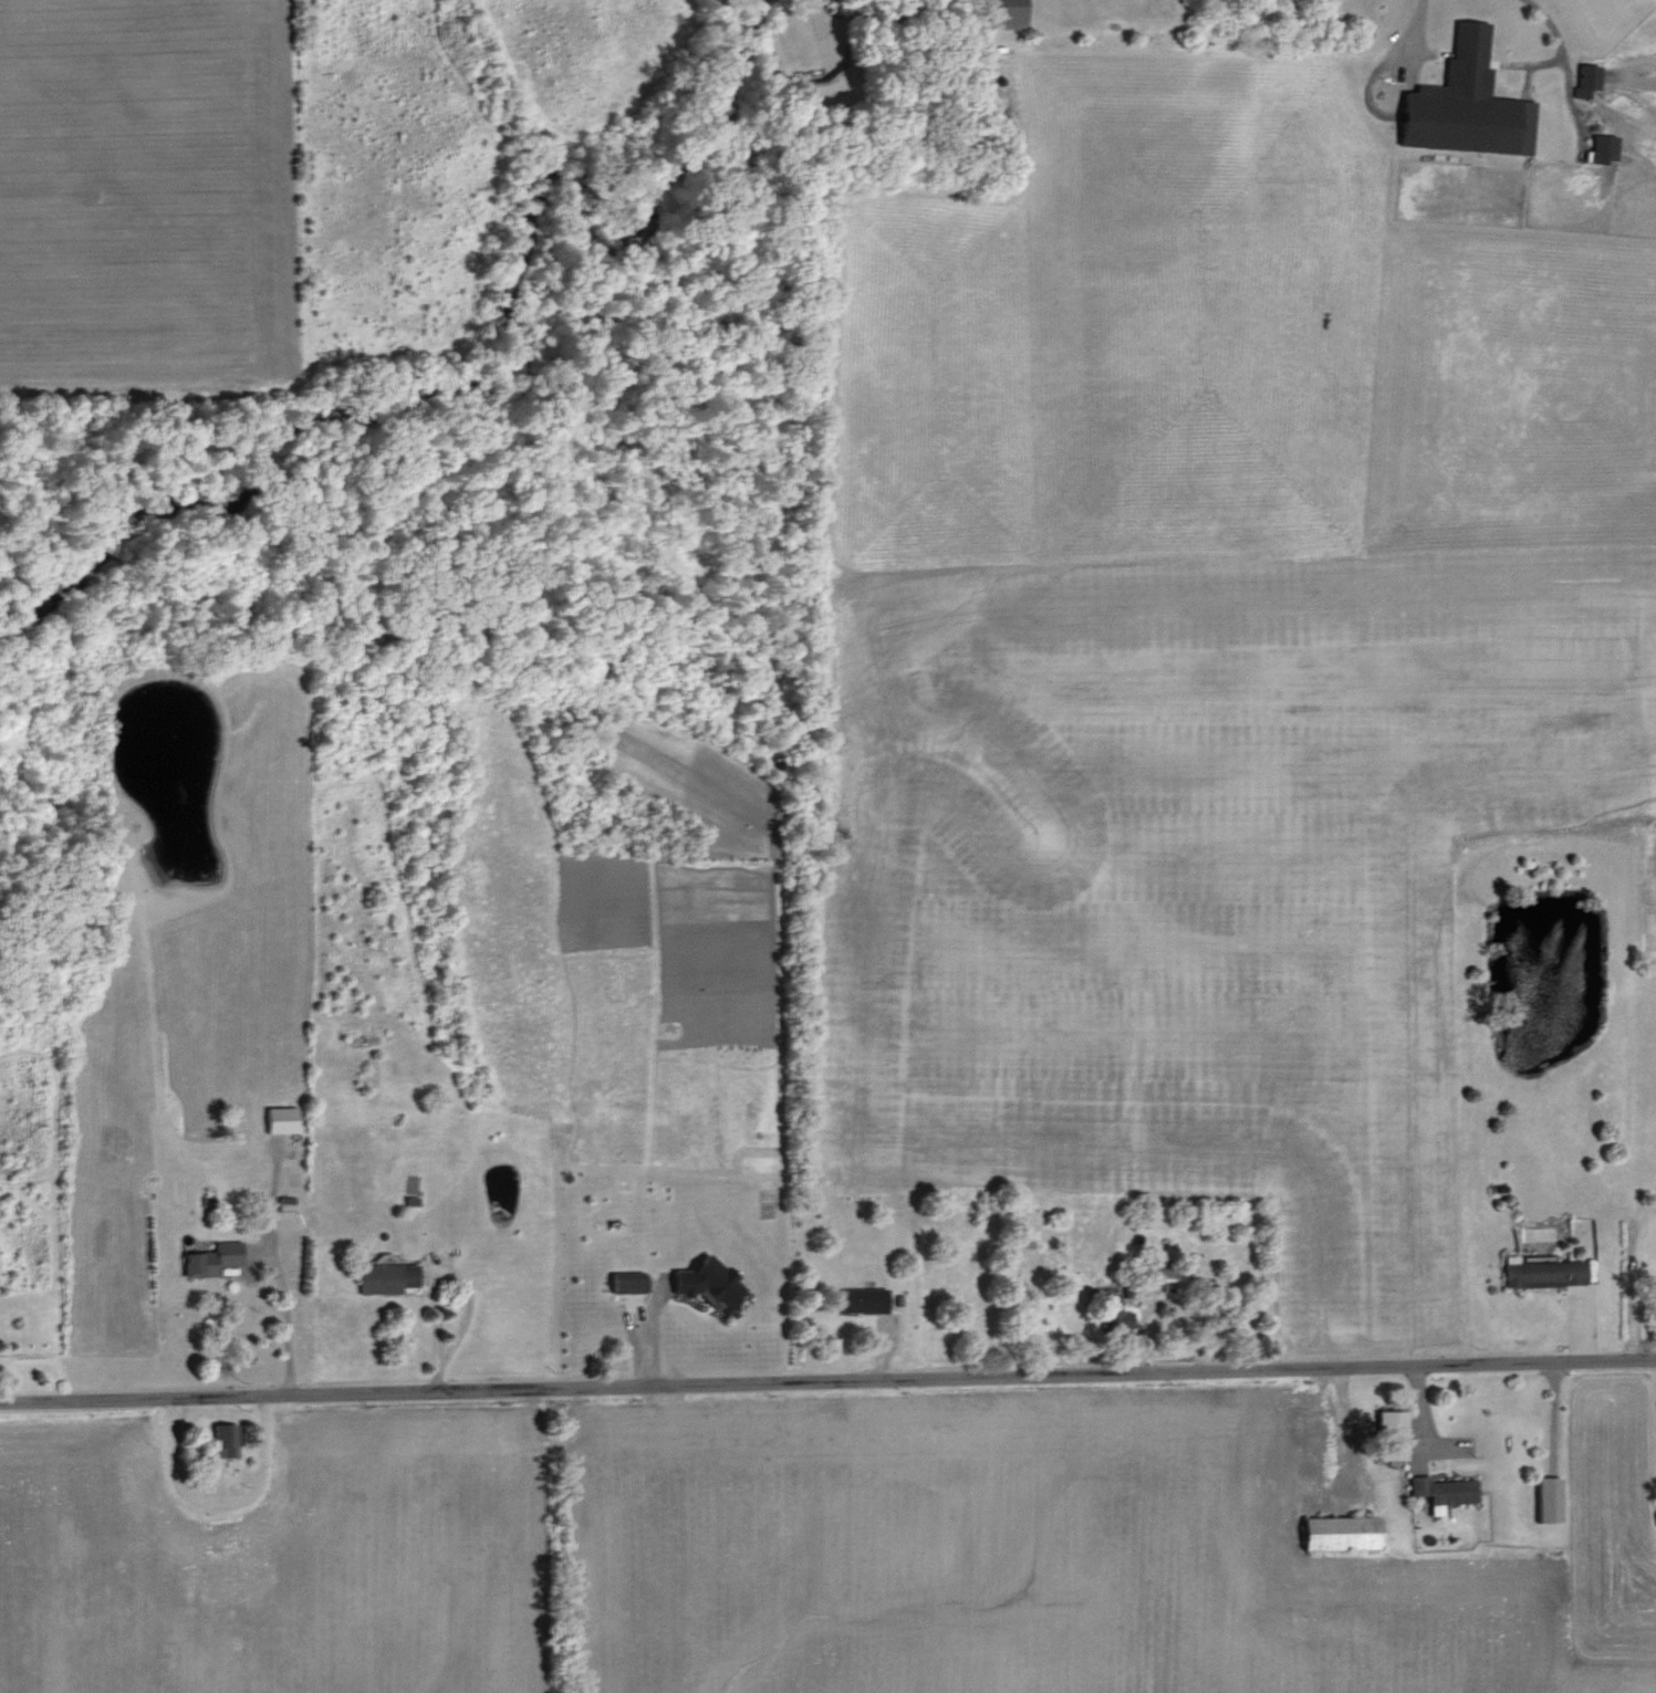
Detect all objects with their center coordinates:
building: (1008, 12)
road: (1413, 22)
road: (817, 23)
building: (1468, 102)
building: (1604, 146)
building: (282, 1117)
building: (285, 1200)
building: (212, 1257)
road: (277, 1264)
building: (1542, 1269)
building: (387, 1275)
building: (1164, 1276)
building: (628, 1279)
building: (711, 1281)
building: (863, 1297)
road: (1624, 1299)
building: (1113, 1309)
road: (827, 1371)
road: (1418, 1417)
building: (225, 1438)
building: (1444, 1490)
building: (1550, 1496)
road: (218, 1497)
building: (1343, 1529)

